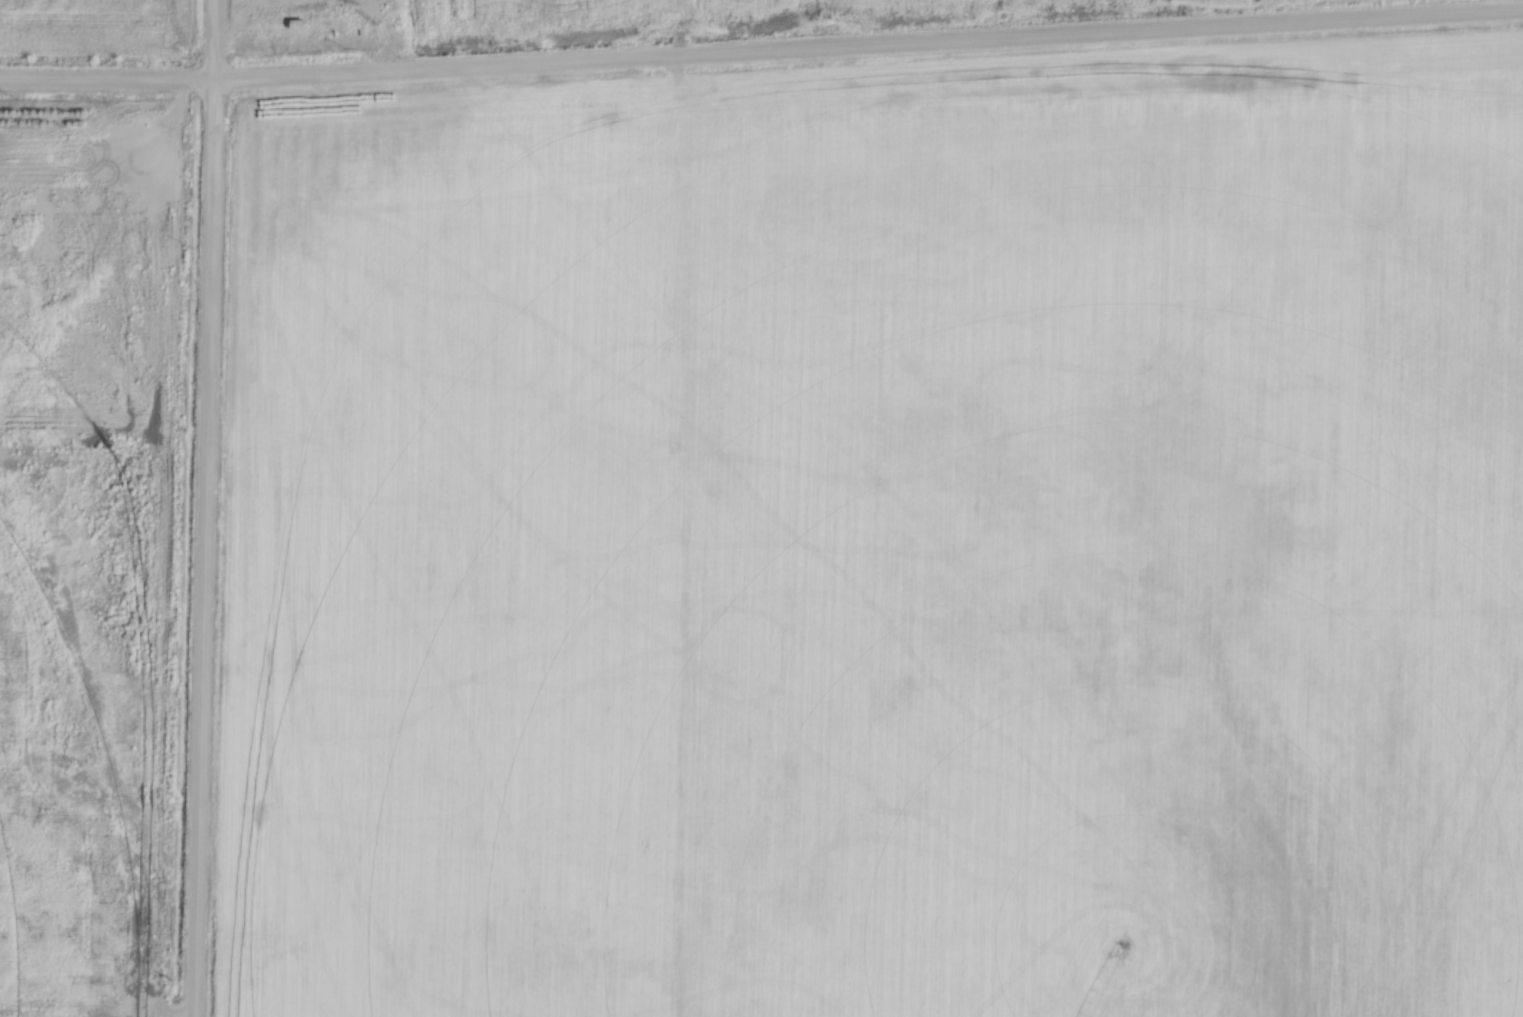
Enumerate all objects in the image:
building: (294, 25)
road: (761, 50)
building: (169, 159)
road: (205, 508)

